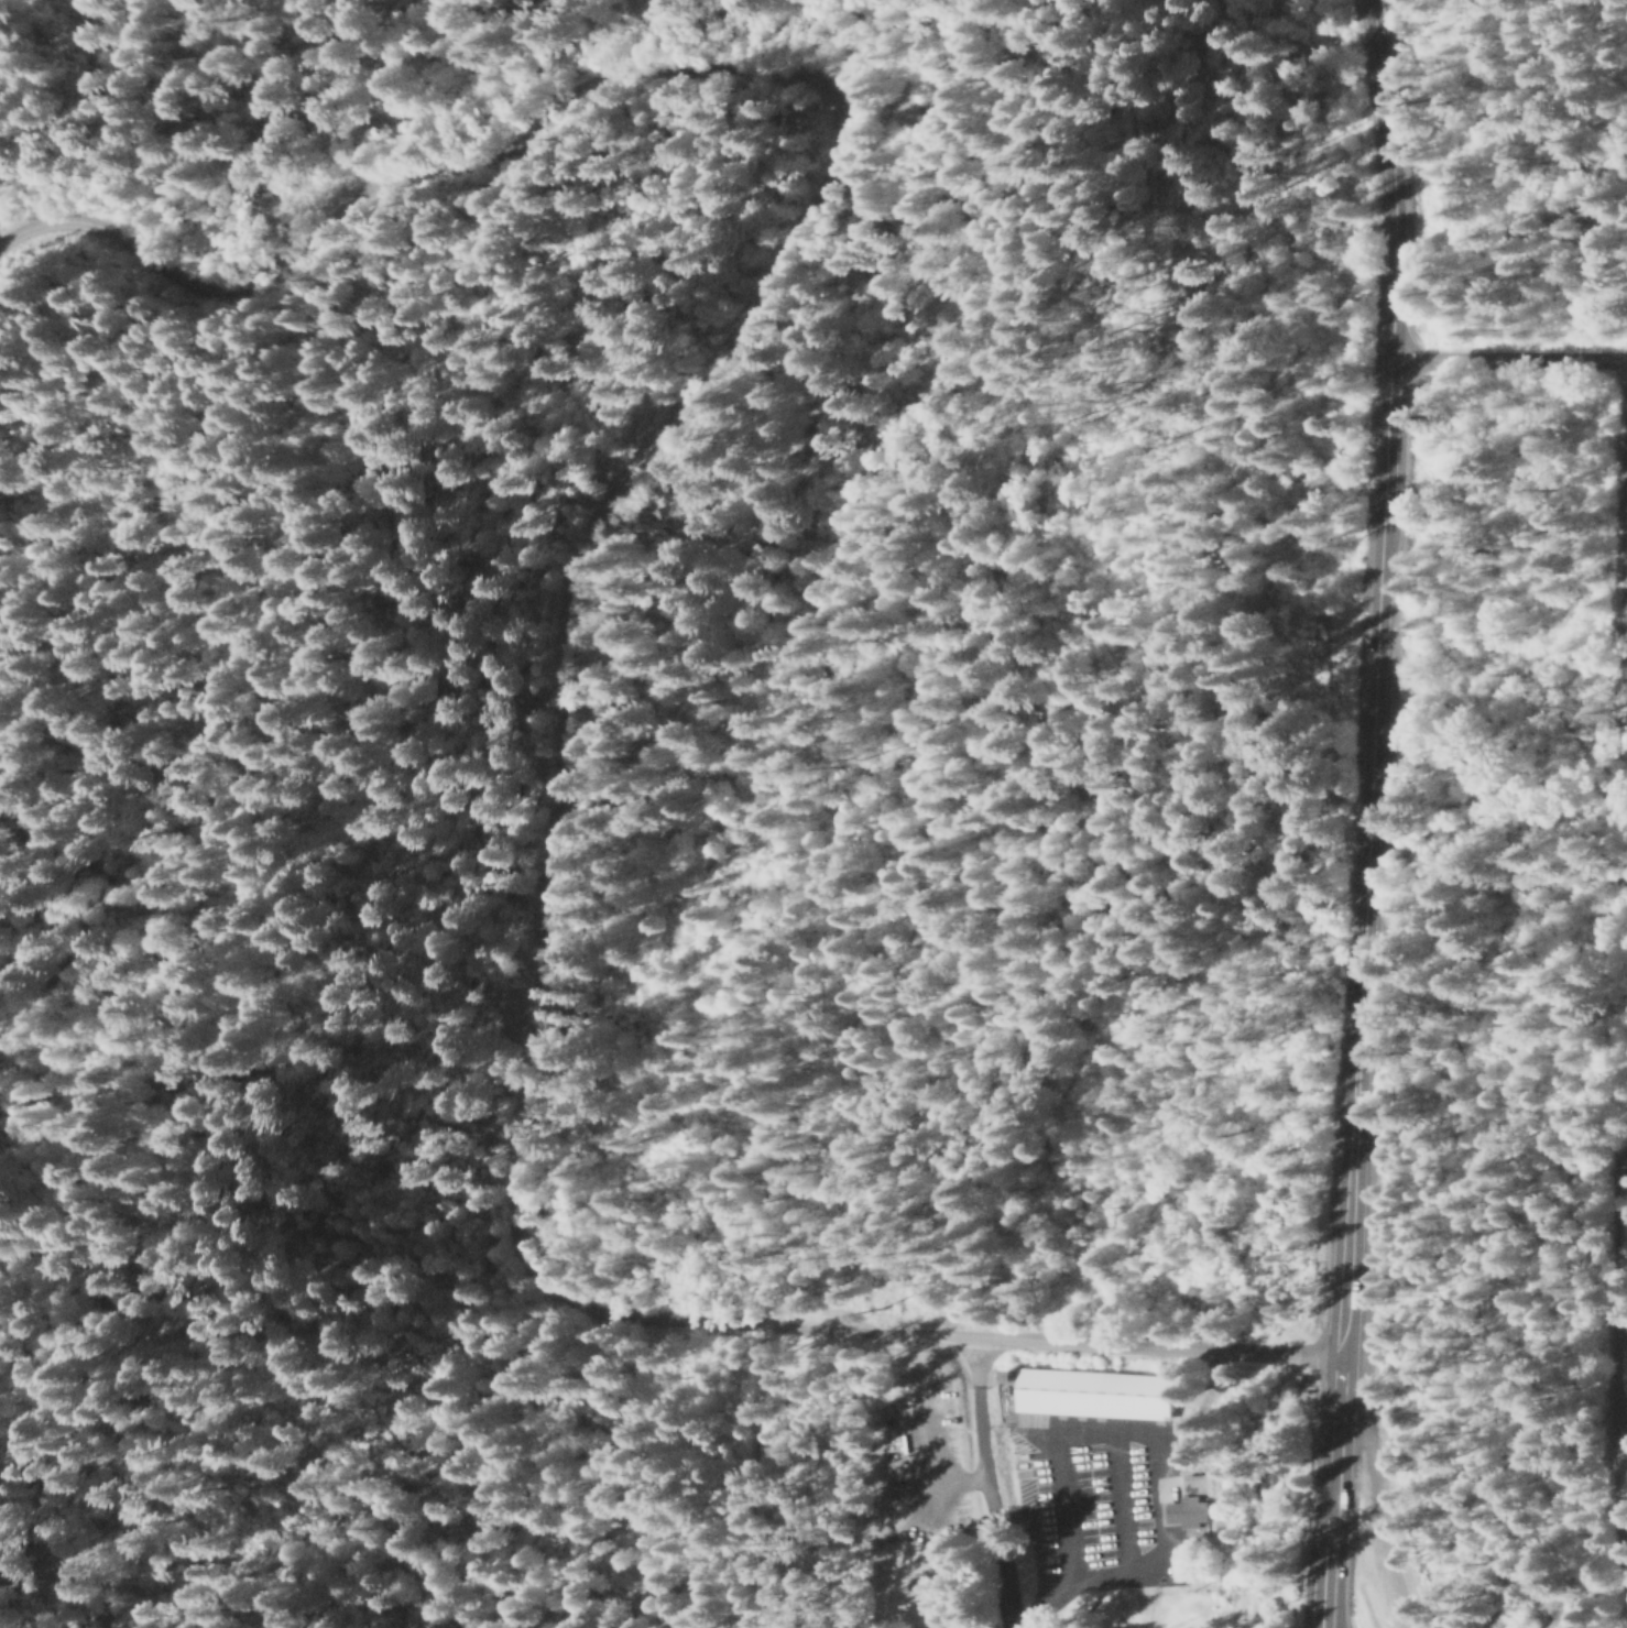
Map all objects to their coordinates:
road: (52, 3)
road: (70, 187)
road: (1510, 363)
road: (642, 439)
road: (1085, 697)
building: (1625, 749)
road: (1369, 812)
road: (1036, 1003)
road: (1153, 1350)
building: (1092, 1395)
road: (535, 1468)
road: (986, 1484)
road: (1287, 1490)
building: (1186, 1514)

